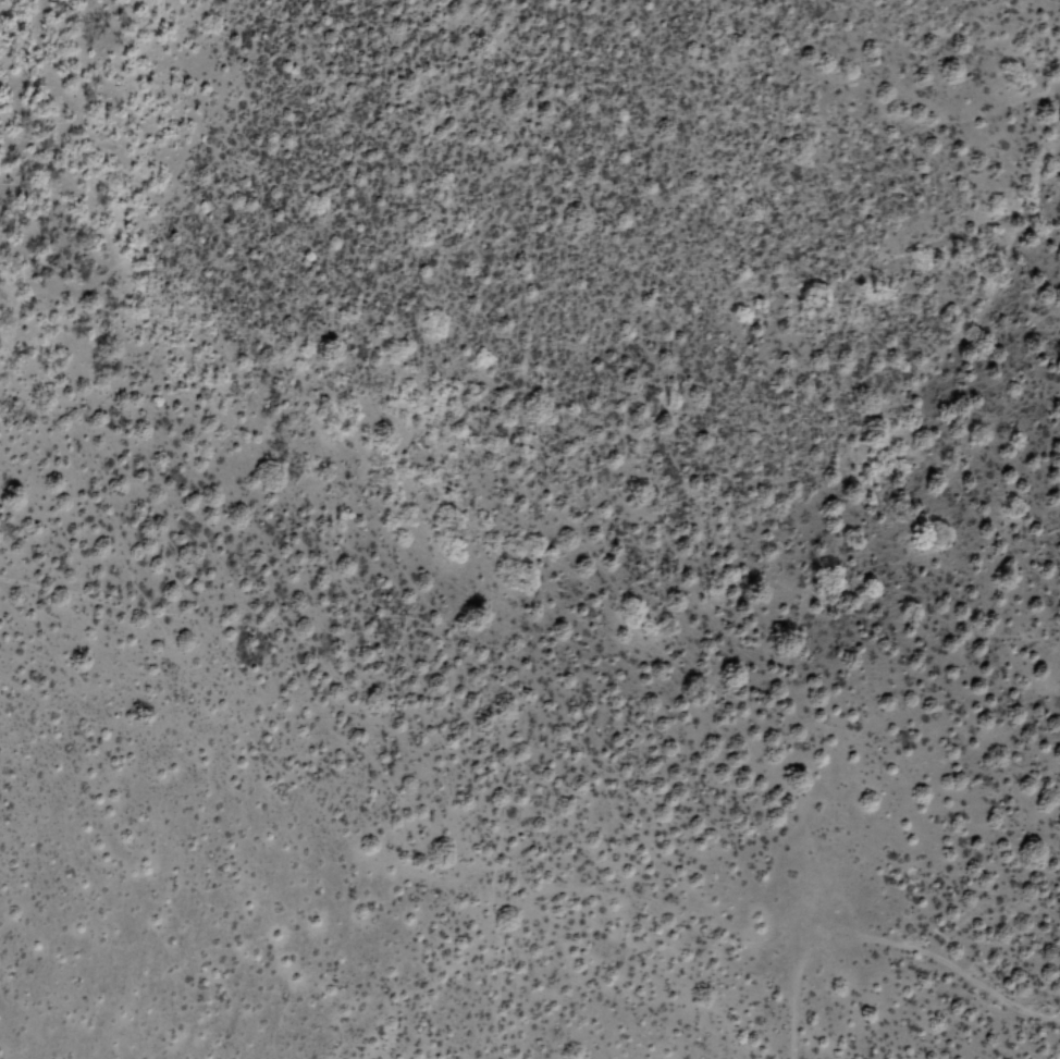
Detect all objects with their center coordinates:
road: (887, 946)

